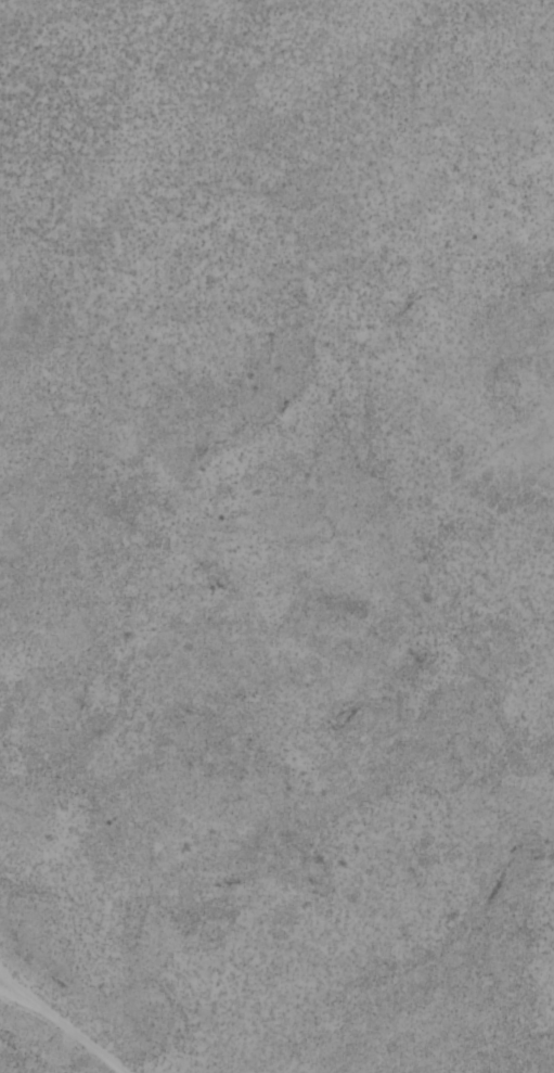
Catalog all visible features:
road: (34, 1044)

